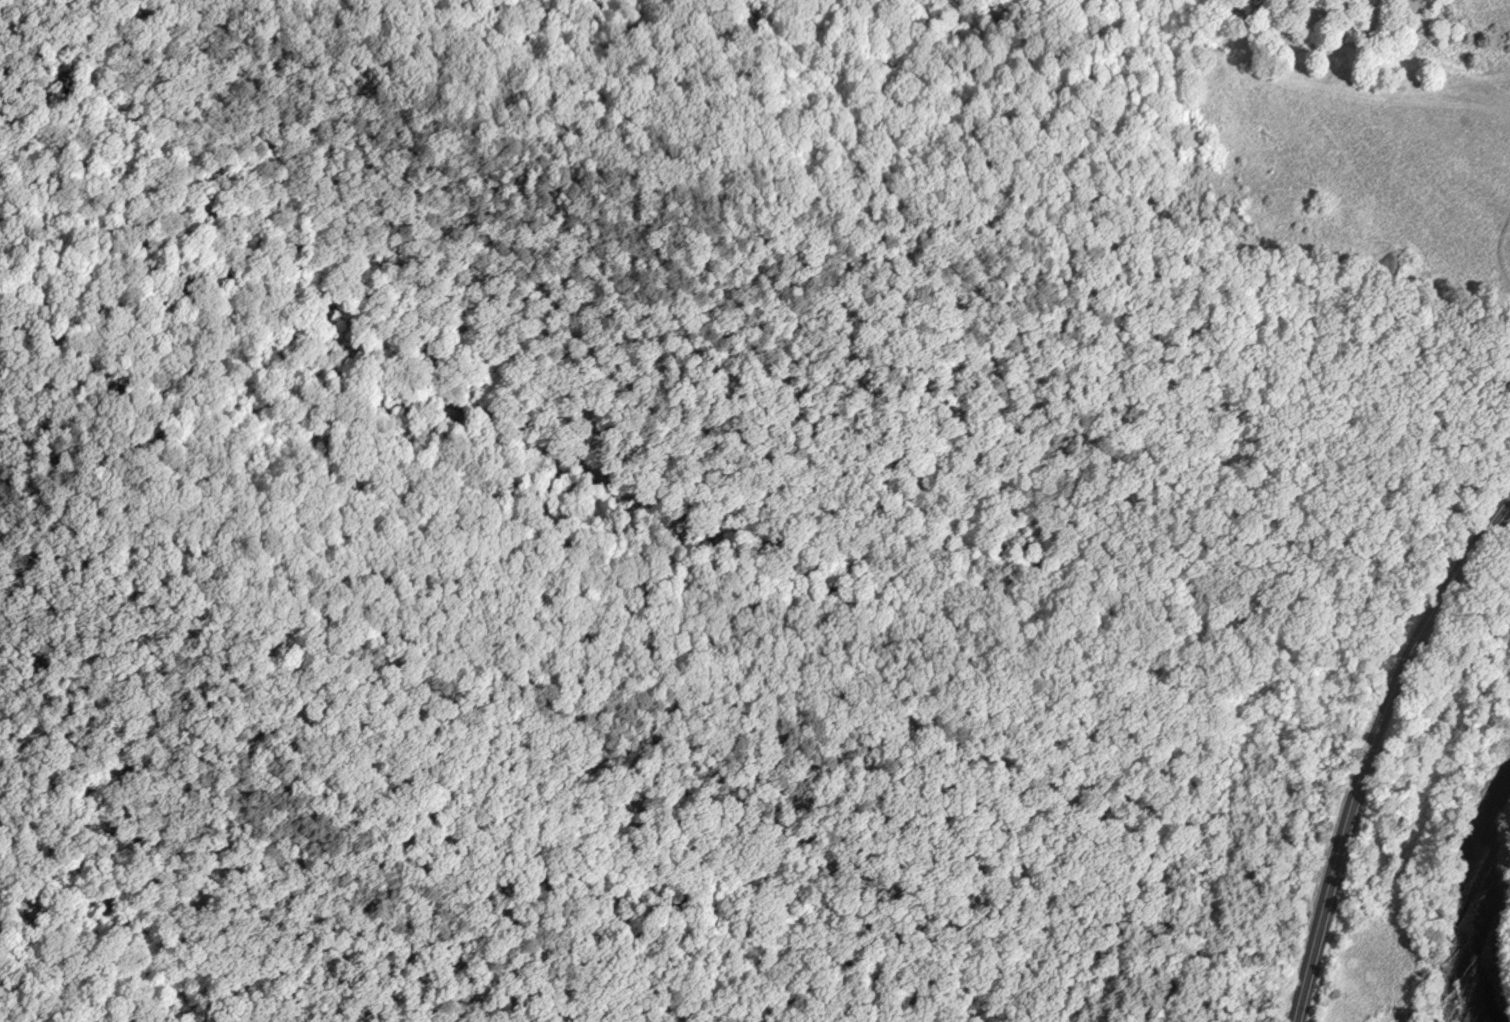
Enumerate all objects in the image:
road: (1371, 746)
river: (1489, 873)

